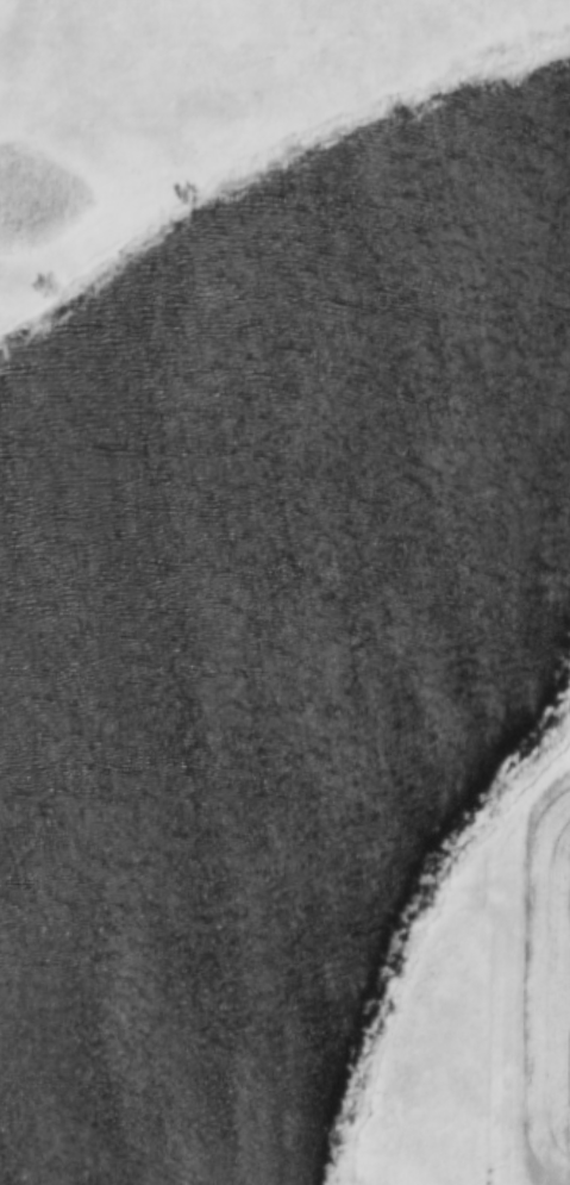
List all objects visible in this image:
crop: (545, 997)

